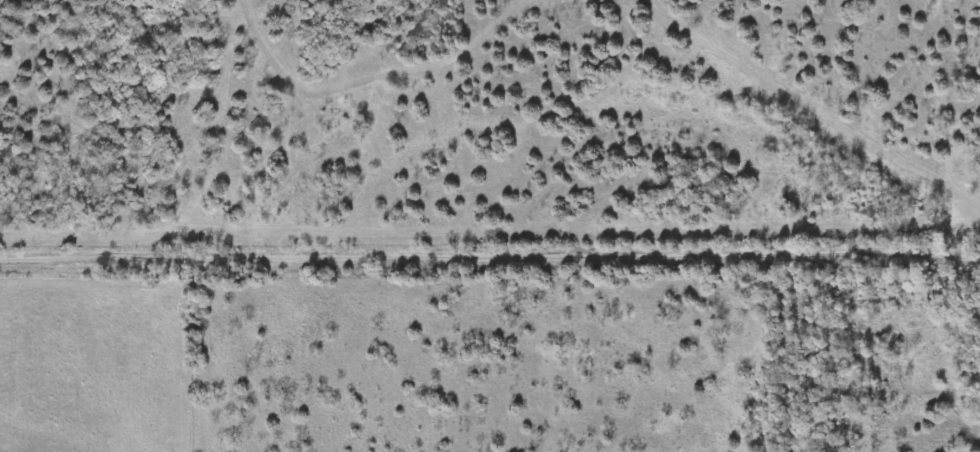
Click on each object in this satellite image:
road: (490, 260)

